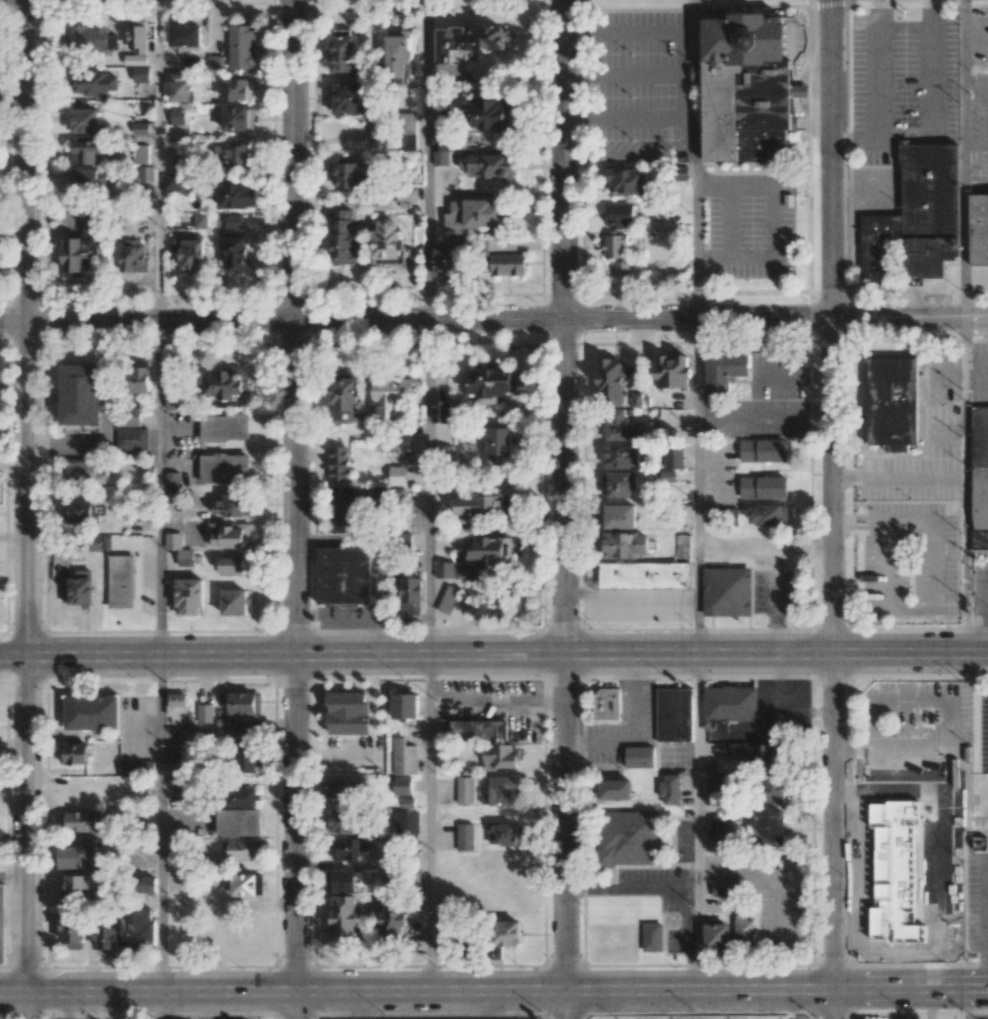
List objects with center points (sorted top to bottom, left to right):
road: (904, 30)
road: (628, 31)
building: (137, 35)
building: (185, 35)
building: (86, 38)
building: (468, 42)
building: (241, 46)
building: (344, 50)
building: (399, 52)
building: (135, 59)
building: (216, 62)
building: (192, 63)
road: (933, 66)
road: (628, 73)
building: (141, 74)
parking lot: (902, 81)
building: (93, 83)
parking lot: (649, 86)
building: (180, 87)
building: (751, 87)
building: (238, 88)
road: (877, 93)
building: (347, 97)
parking lot: (979, 97)
building: (177, 115)
road: (628, 115)
building: (238, 118)
building: (85, 120)
building: (139, 128)
building: (409, 131)
building: (378, 133)
building: (440, 147)
building: (86, 152)
building: (141, 154)
building: (234, 154)
building: (183, 155)
road: (629, 155)
road: (562, 158)
road: (696, 158)
road: (964, 158)
road: (294, 159)
road: (426, 159)
road: (831, 159)
road: (24, 160)
road: (157, 160)
road: (976, 173)
building: (347, 174)
building: (145, 176)
building: (89, 179)
building: (627, 181)
building: (171, 183)
road: (863, 190)
building: (236, 196)
building: (395, 197)
building: (473, 215)
building: (620, 215)
road: (773, 219)
building: (200, 220)
road: (730, 220)
building: (233, 221)
building: (915, 221)
parking lot: (749, 226)
building: (979, 231)
building: (343, 238)
building: (456, 240)
building: (663, 242)
building: (388, 243)
building: (80, 248)
building: (188, 250)
building: (619, 252)
building: (237, 254)
building: (132, 256)
building: (446, 262)
building: (507, 264)
road: (493, 318)
parking lot: (979, 373)
building: (725, 374)
building: (139, 379)
building: (611, 380)
building: (223, 383)
building: (488, 385)
road: (107, 386)
building: (81, 395)
building: (391, 395)
building: (344, 399)
building: (176, 401)
building: (894, 403)
building: (442, 411)
building: (132, 416)
building: (620, 426)
building: (224, 427)
building: (132, 438)
building: (400, 441)
building: (498, 441)
road: (61, 442)
building: (763, 450)
building: (673, 456)
building: (622, 457)
building: (339, 464)
building: (224, 468)
building: (82, 471)
building: (397, 475)
road: (899, 475)
building: (980, 477)
building: (172, 479)
road: (966, 483)
building: (621, 484)
road: (696, 484)
road: (295, 486)
road: (427, 486)
road: (159, 487)
building: (763, 487)
building: (379, 492)
building: (172, 496)
building: (229, 505)
building: (479, 505)
building: (348, 508)
building: (78, 511)
building: (768, 514)
building: (620, 516)
road: (857, 518)
road: (882, 518)
road: (857, 527)
building: (228, 534)
building: (100, 543)
road: (765, 544)
building: (622, 545)
building: (683, 547)
building: (179, 549)
building: (475, 559)
parking lot: (910, 561)
building: (231, 565)
building: (345, 575)
building: (646, 577)
building: (122, 582)
parking lot: (980, 583)
building: (78, 591)
building: (723, 592)
parking lot: (771, 593)
building: (189, 596)
building: (411, 596)
road: (987, 597)
road: (772, 598)
building: (448, 599)
building: (234, 602)
road: (987, 610)
road: (494, 653)
road: (834, 653)
road: (26, 655)
road: (565, 668)
road: (496, 700)
building: (245, 703)
building: (730, 704)
building: (407, 705)
building: (608, 706)
building: (179, 709)
building: (92, 713)
building: (205, 713)
building: (348, 713)
building: (675, 714)
road: (947, 720)
parking lot: (917, 727)
road: (629, 728)
building: (478, 729)
parking lot: (982, 730)
building: (245, 733)
building: (193, 735)
road: (856, 743)
building: (74, 753)
building: (173, 753)
building: (759, 755)
building: (500, 756)
building: (404, 757)
building: (641, 757)
road: (857, 757)
building: (245, 761)
building: (136, 768)
building: (401, 785)
building: (184, 788)
building: (339, 788)
building: (670, 788)
building: (718, 788)
building: (501, 789)
building: (615, 789)
building: (774, 789)
building: (465, 790)
building: (240, 797)
parking lot: (980, 805)
building: (341, 821)
road: (697, 821)
building: (82, 822)
building: (238, 822)
building: (407, 822)
road: (428, 822)
road: (160, 823)
building: (771, 827)
building: (722, 830)
building: (506, 833)
road: (296, 836)
building: (465, 836)
building: (629, 837)
building: (243, 849)
building: (345, 849)
building: (77, 855)
building: (888, 870)
road: (778, 872)
road: (13, 877)
building: (340, 881)
building: (145, 884)
building: (244, 884)
building: (74, 886)
building: (727, 887)
road: (631, 888)
building: (921, 893)
parking lot: (976, 901)
road: (986, 903)
building: (343, 918)
building: (392, 920)
building: (1, 925)
road: (806, 926)
building: (743, 929)
building: (73, 930)
building: (139, 930)
building: (505, 935)
building: (716, 935)
building: (652, 936)
building: (106, 940)
road: (911, 989)
road: (417, 990)
road: (487, 1004)
road: (834, 1004)
road: (967, 1004)
road: (27, 1005)
road: (160, 1005)
road: (357, 1005)

